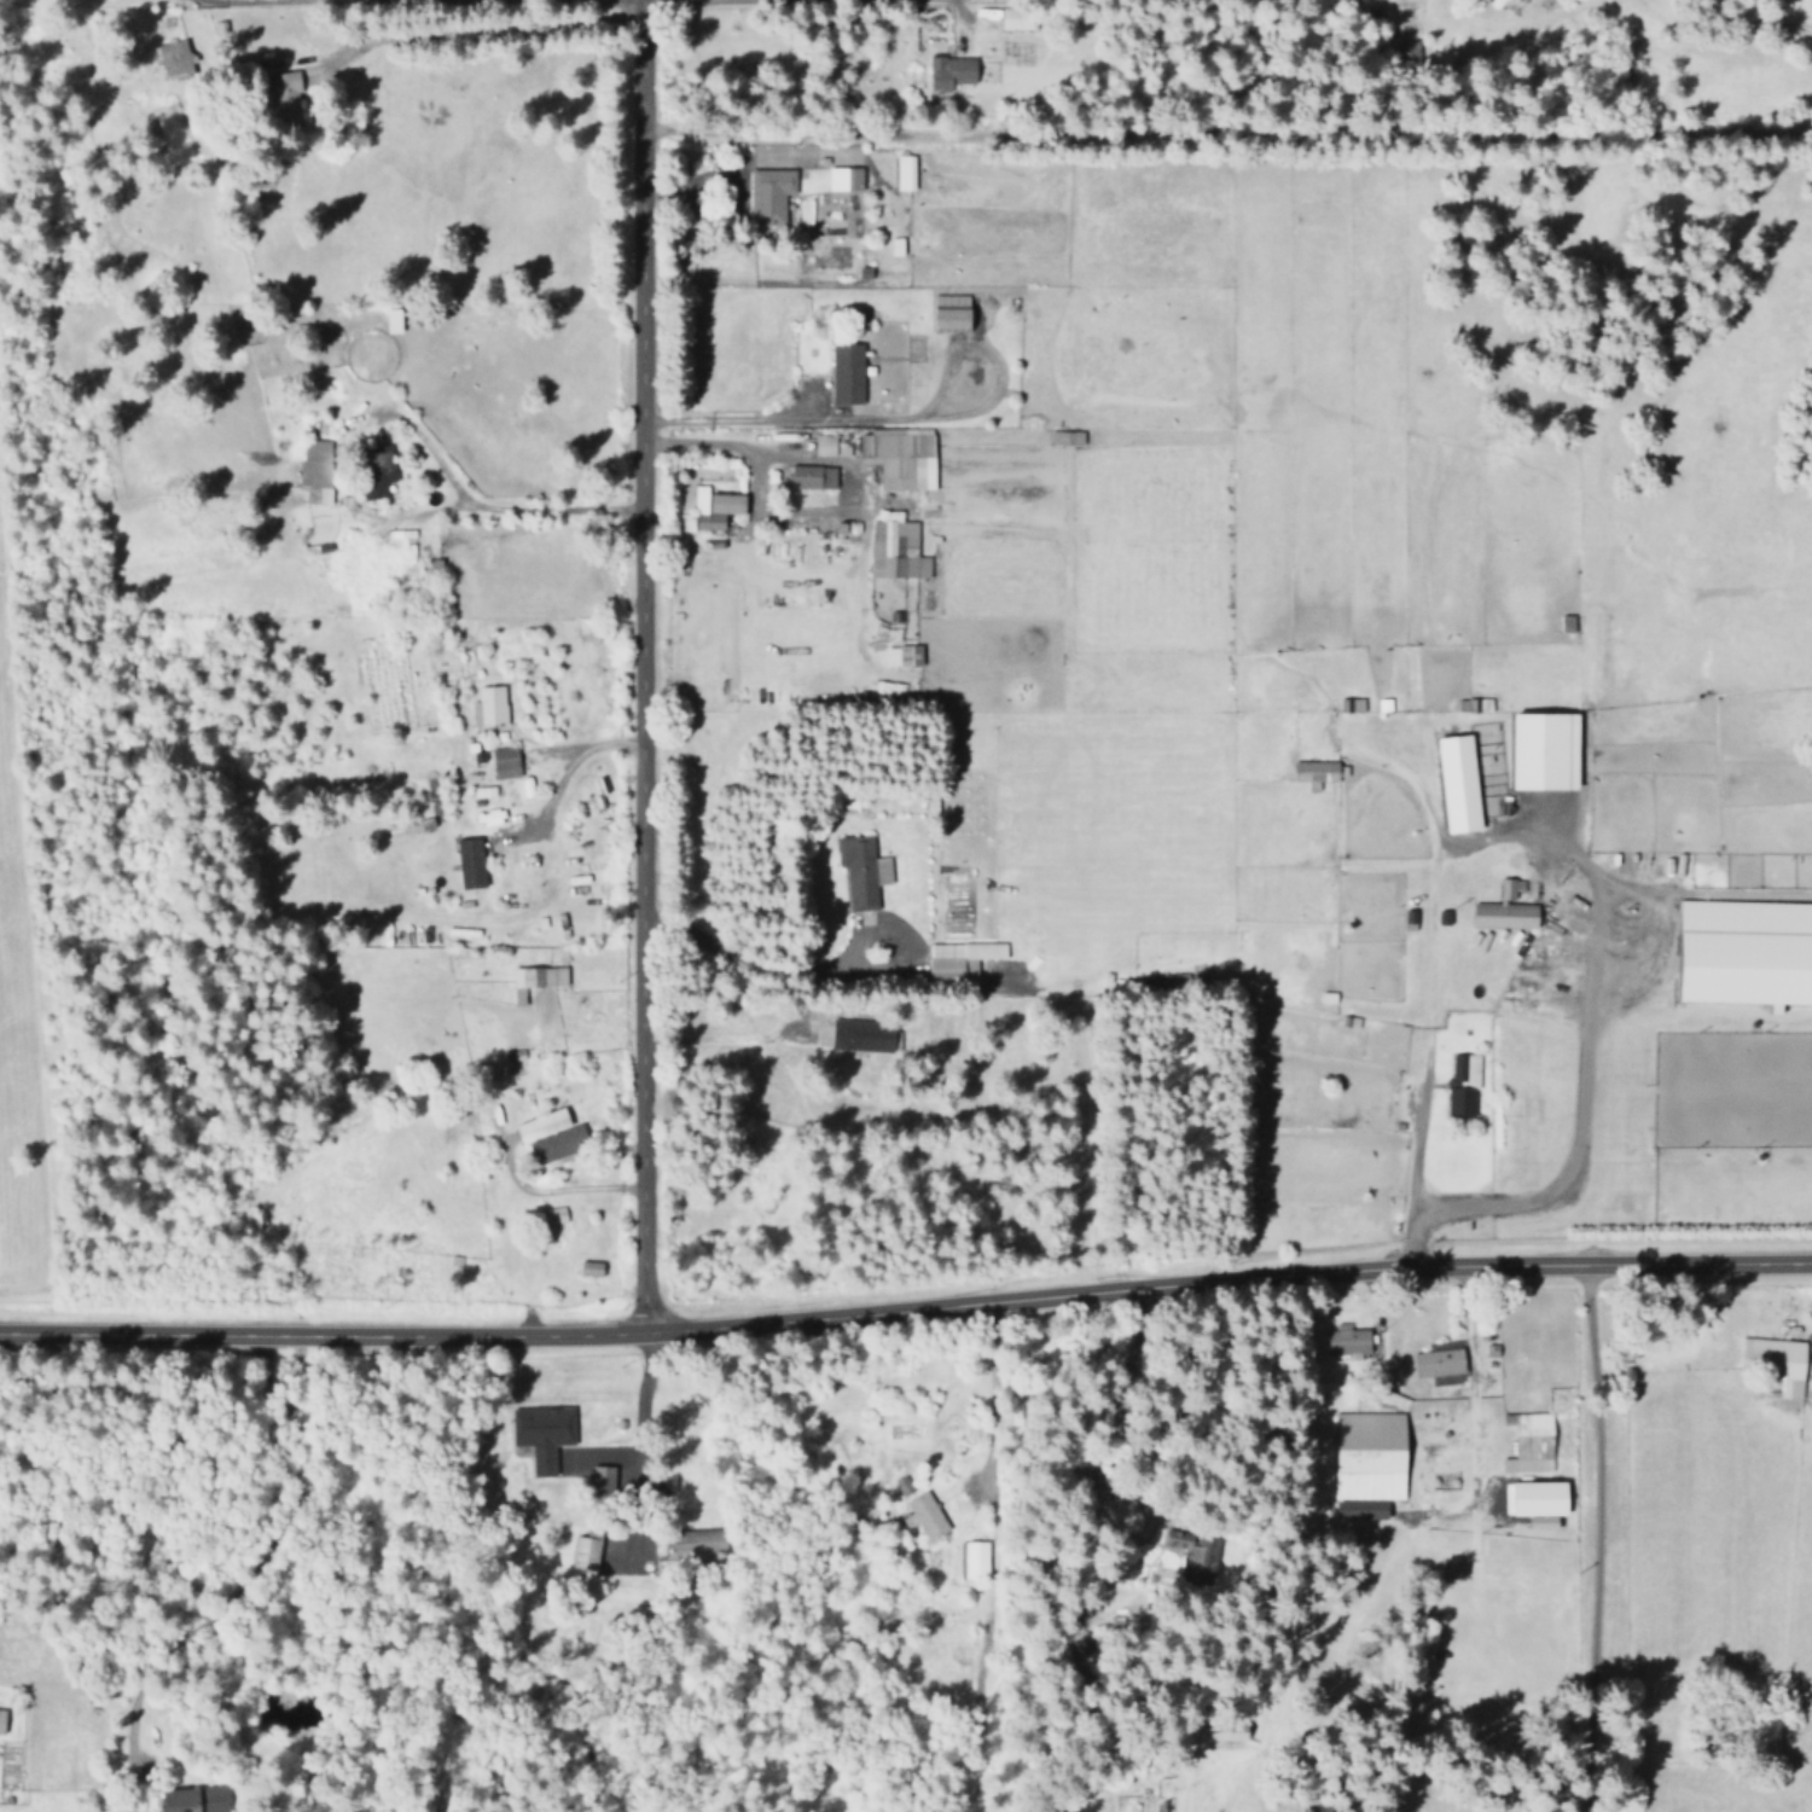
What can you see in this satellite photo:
road: (774, 1)
road: (288, 4)
building: (1017, 18)
building: (172, 58)
building: (951, 71)
building: (283, 92)
road: (1221, 134)
building: (904, 173)
building: (843, 179)
building: (768, 197)
building: (952, 313)
building: (393, 320)
building: (847, 373)
building: (1065, 437)
building: (824, 445)
building: (899, 458)
building: (315, 466)
building: (376, 471)
building: (812, 476)
road: (480, 506)
building: (714, 507)
building: (894, 550)
building: (1567, 622)
building: (902, 655)
road: (638, 668)
building: (1351, 704)
building: (488, 705)
building: (1546, 750)
building: (505, 762)
building: (1317, 772)
building: (1458, 783)
building: (470, 863)
building: (863, 871)
building: (1506, 908)
building: (1747, 952)
building: (959, 958)
road: (767, 971)
building: (535, 980)
building: (863, 1035)
building: (1463, 1085)
building: (542, 1125)
building: (558, 1143)
building: (552, 1215)
airport runway: (56, 1280)
road: (906, 1311)
building: (1348, 1340)
building: (1439, 1360)
building: (1776, 1361)
building: (541, 1433)
building: (1529, 1442)
building: (1369, 1464)
building: (602, 1481)
building: (1534, 1498)
building: (923, 1515)
road: (1589, 1540)
building: (698, 1543)
building: (1194, 1553)
building: (975, 1558)
road: (274, 1576)
building: (1, 1720)
building: (192, 1799)

